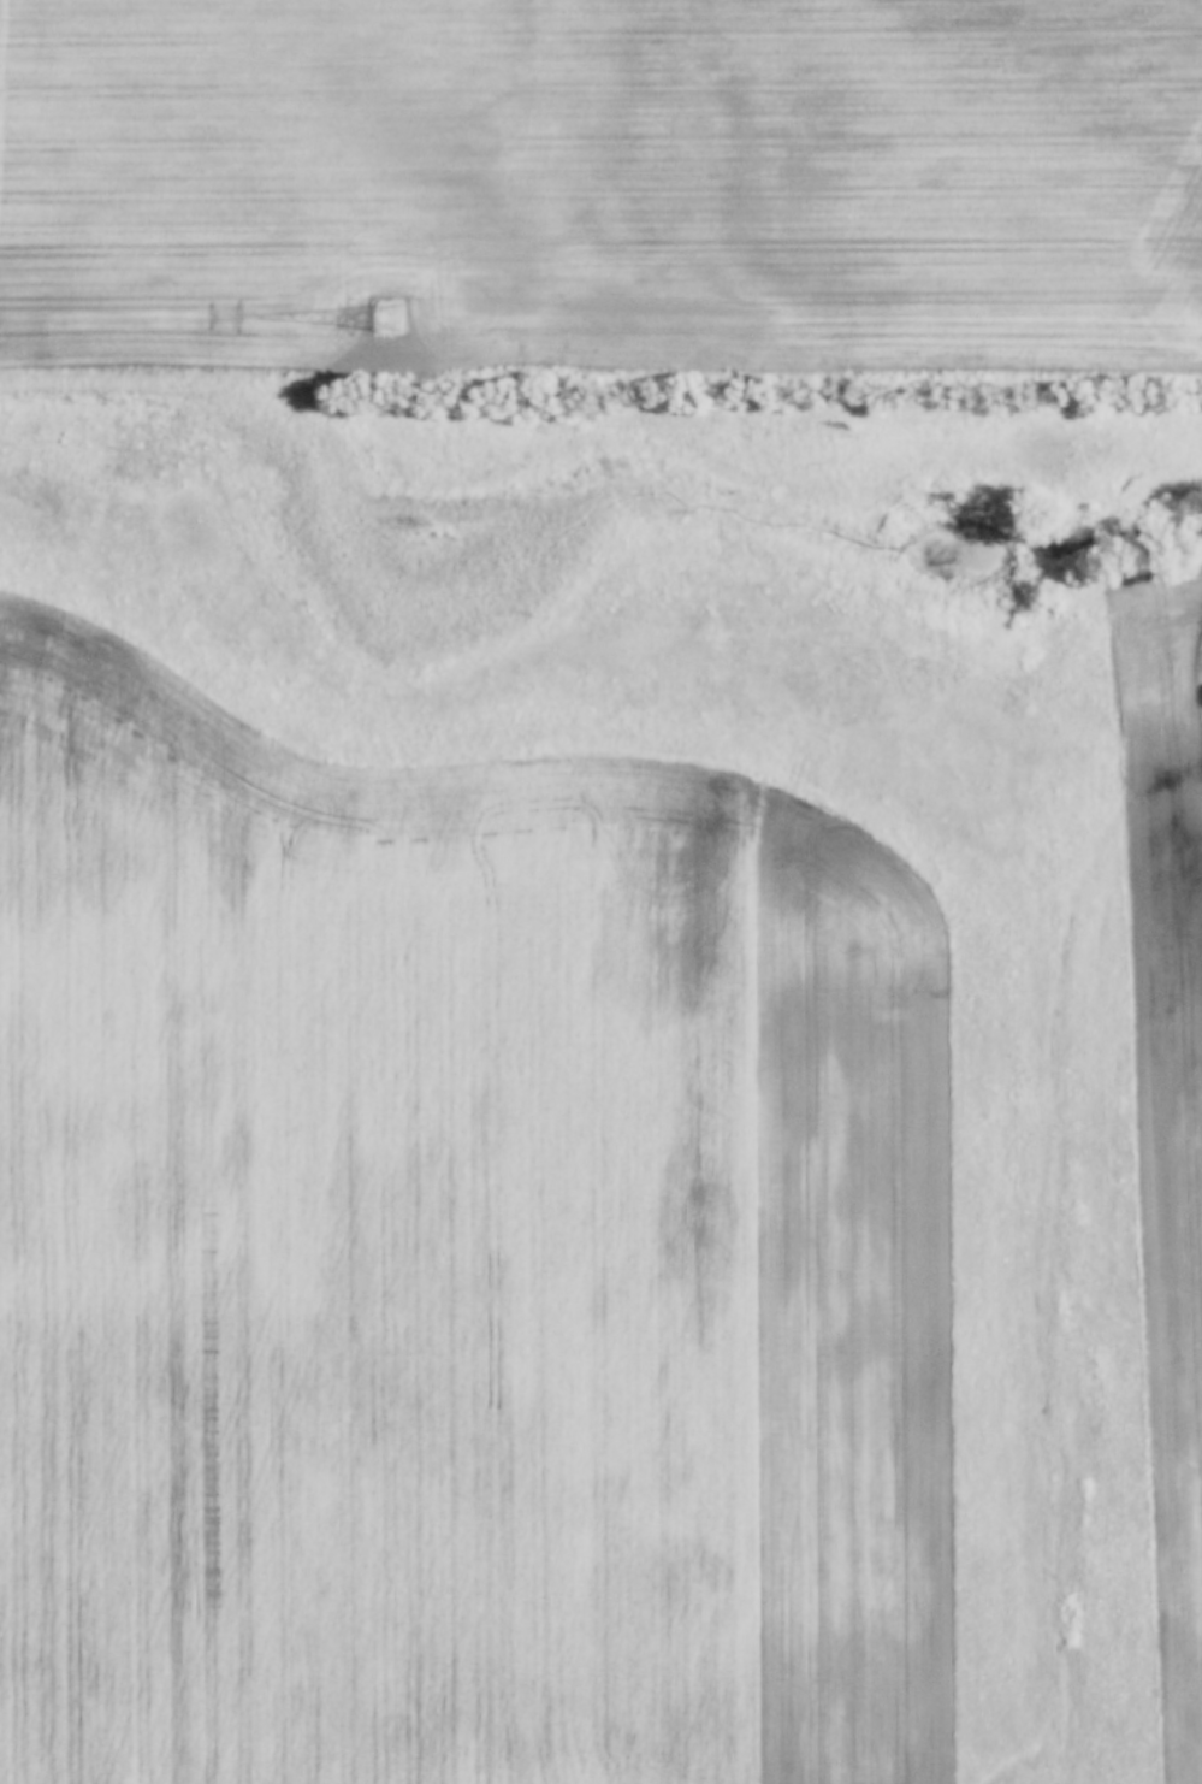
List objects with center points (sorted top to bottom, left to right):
power tower: (397, 324)

